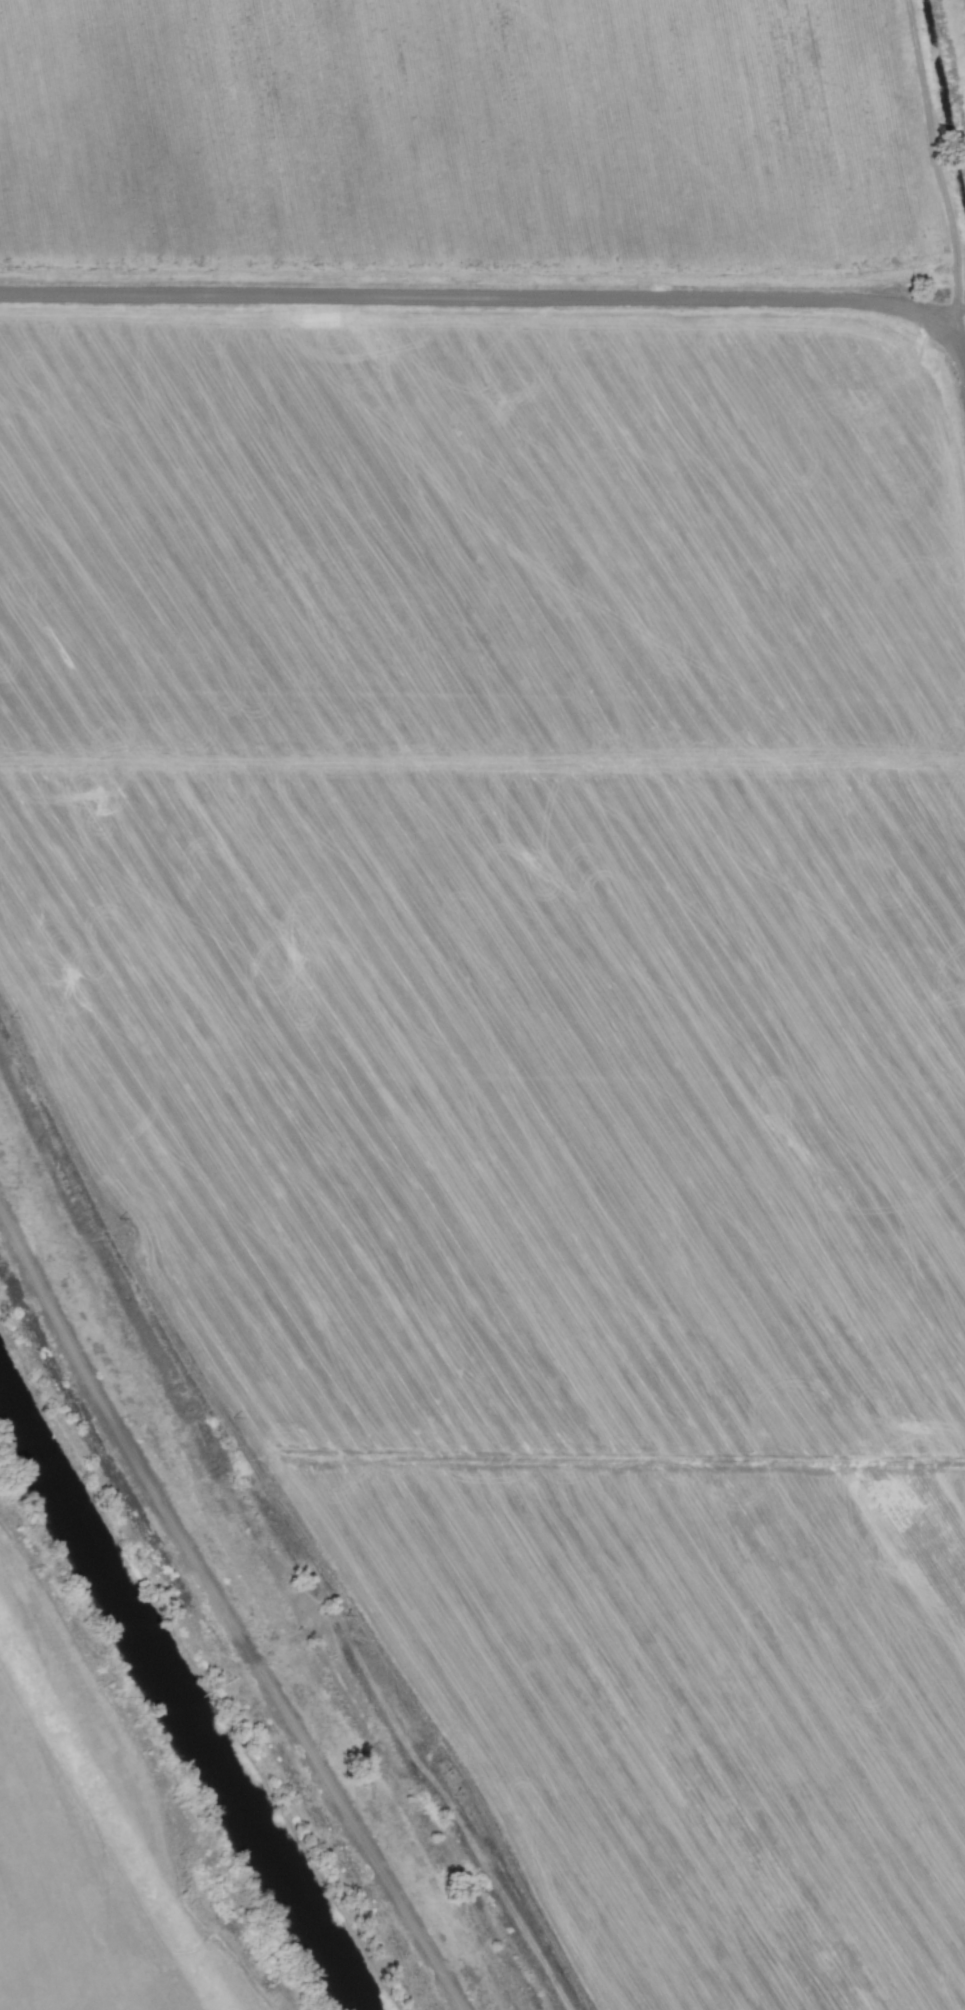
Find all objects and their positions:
road: (925, 154)
road: (501, 295)
road: (952, 313)
crop: (536, 890)
road: (223, 1610)
crop: (63, 1735)

